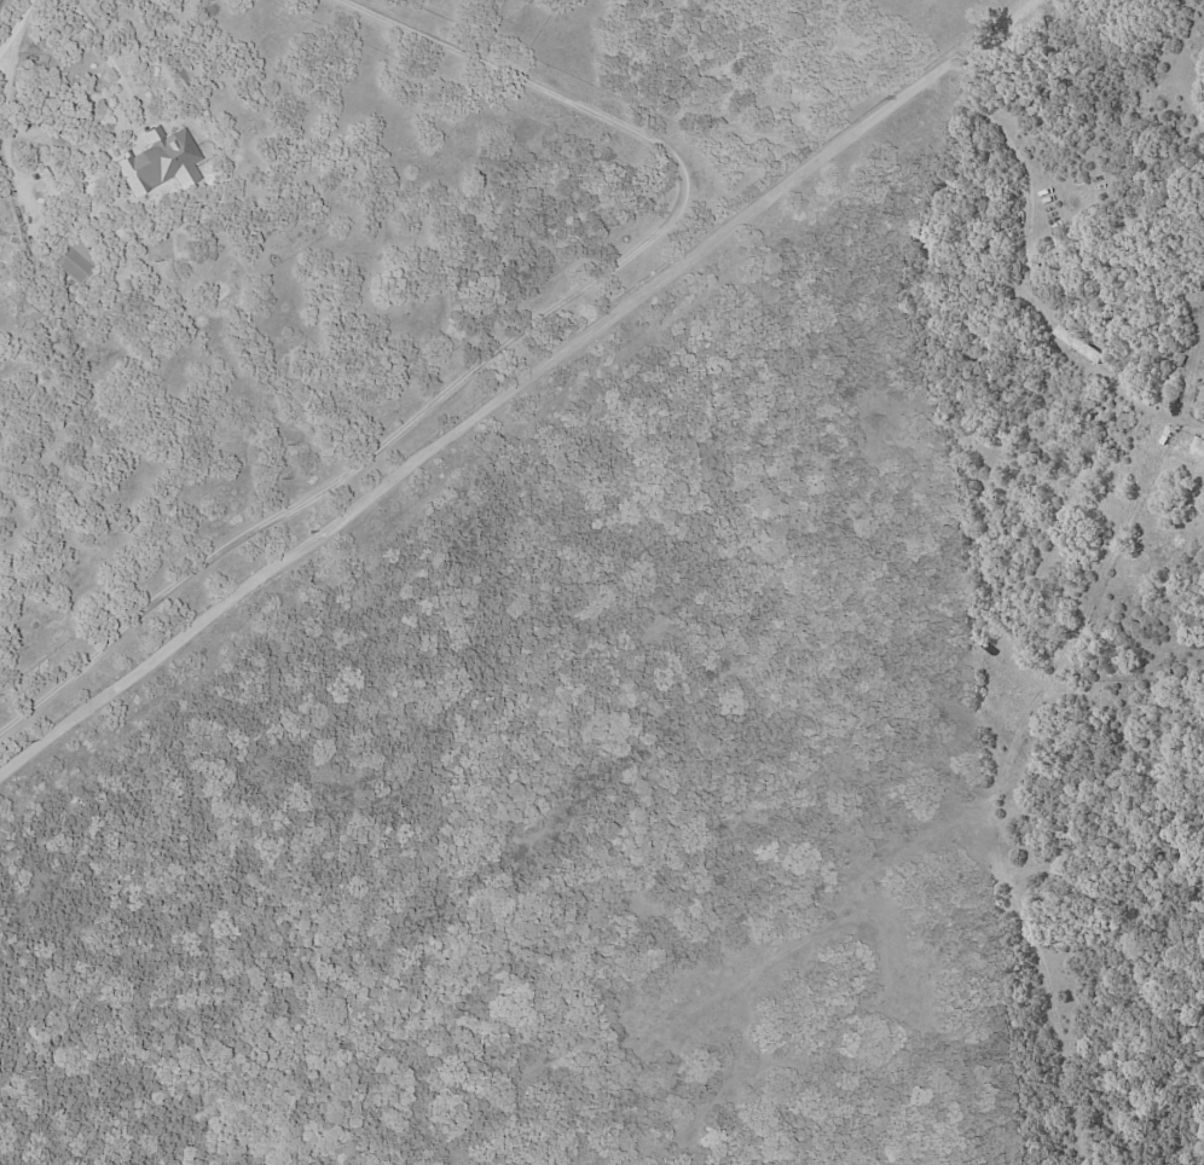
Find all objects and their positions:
road: (15, 23)
road: (87, 35)
building: (158, 162)
building: (73, 260)
building: (1078, 344)
road: (503, 347)
road: (516, 386)
road: (1152, 405)
building: (1198, 446)

